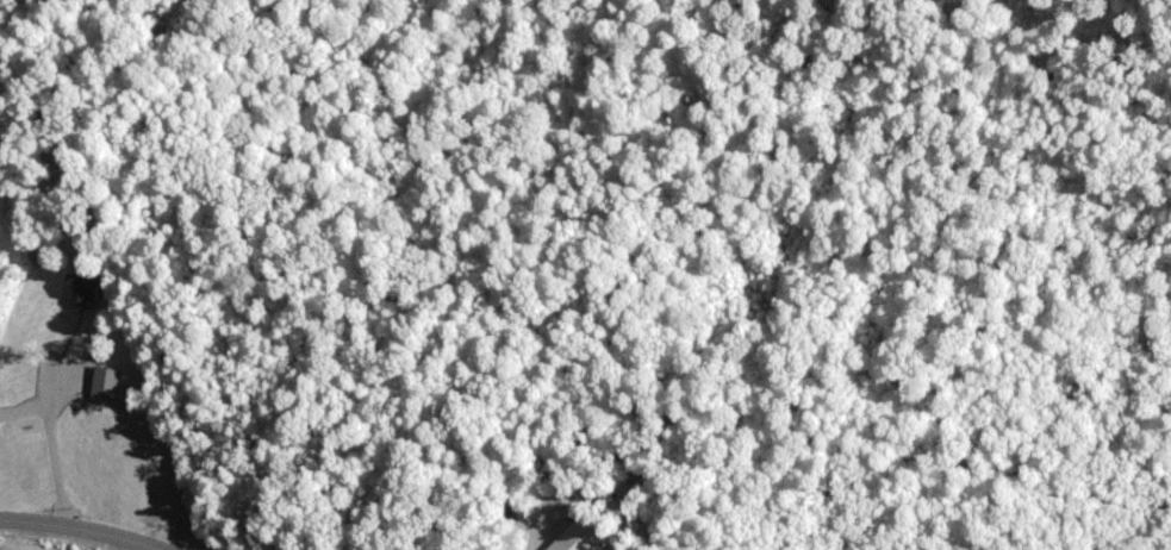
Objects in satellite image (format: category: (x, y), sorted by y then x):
building: (75, 289)
road: (76, 532)
building: (567, 538)

